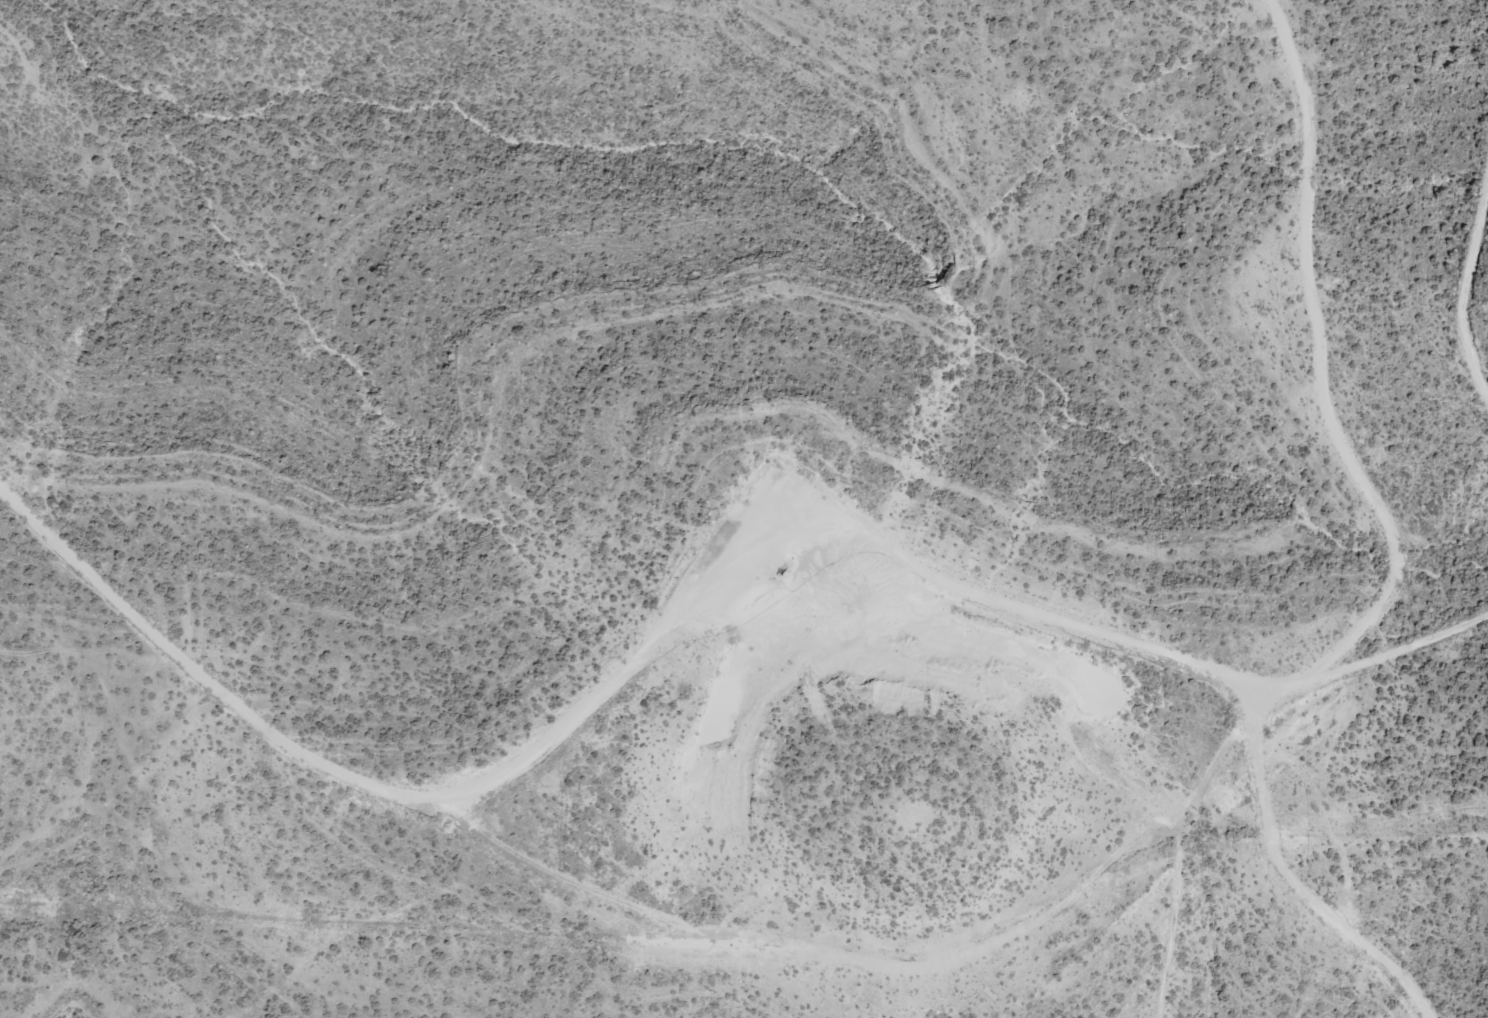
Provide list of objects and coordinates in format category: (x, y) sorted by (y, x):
road: (1471, 307)
road: (1262, 776)

